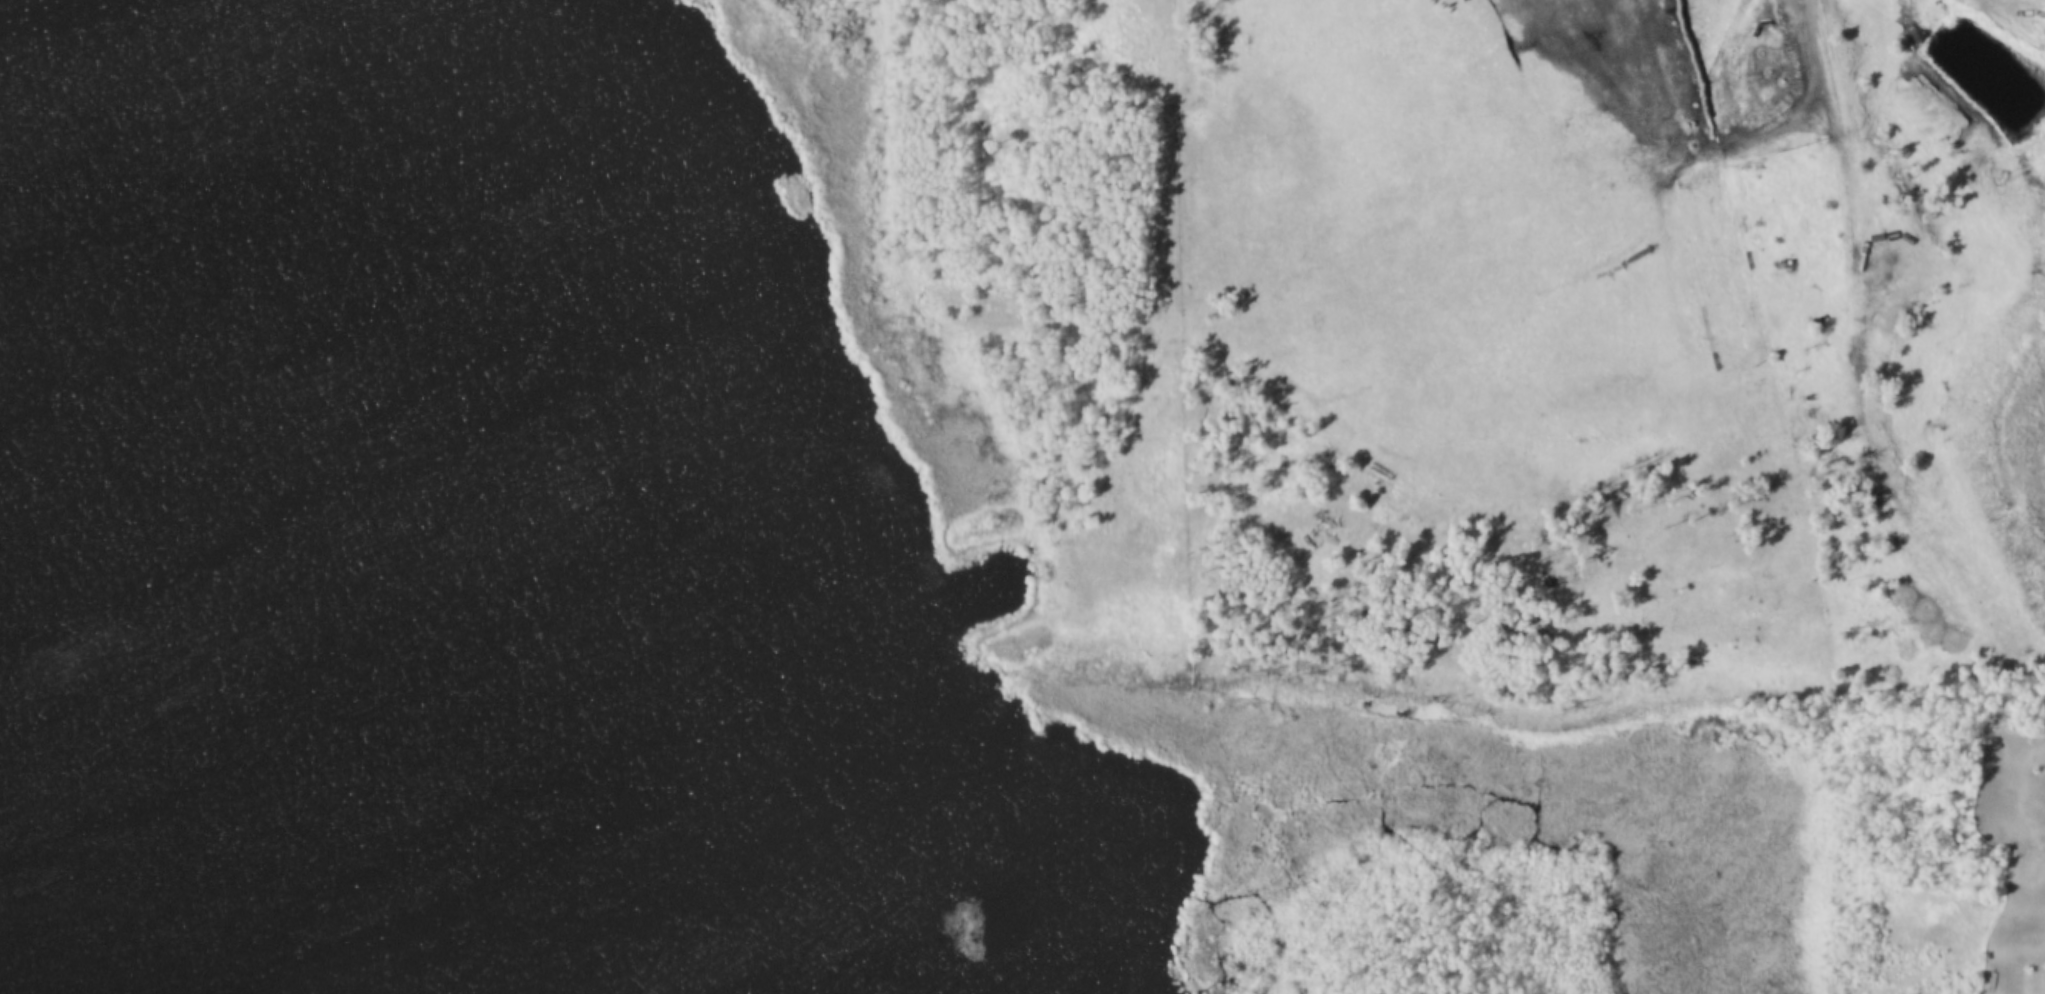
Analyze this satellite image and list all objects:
road: (1162, 154)

